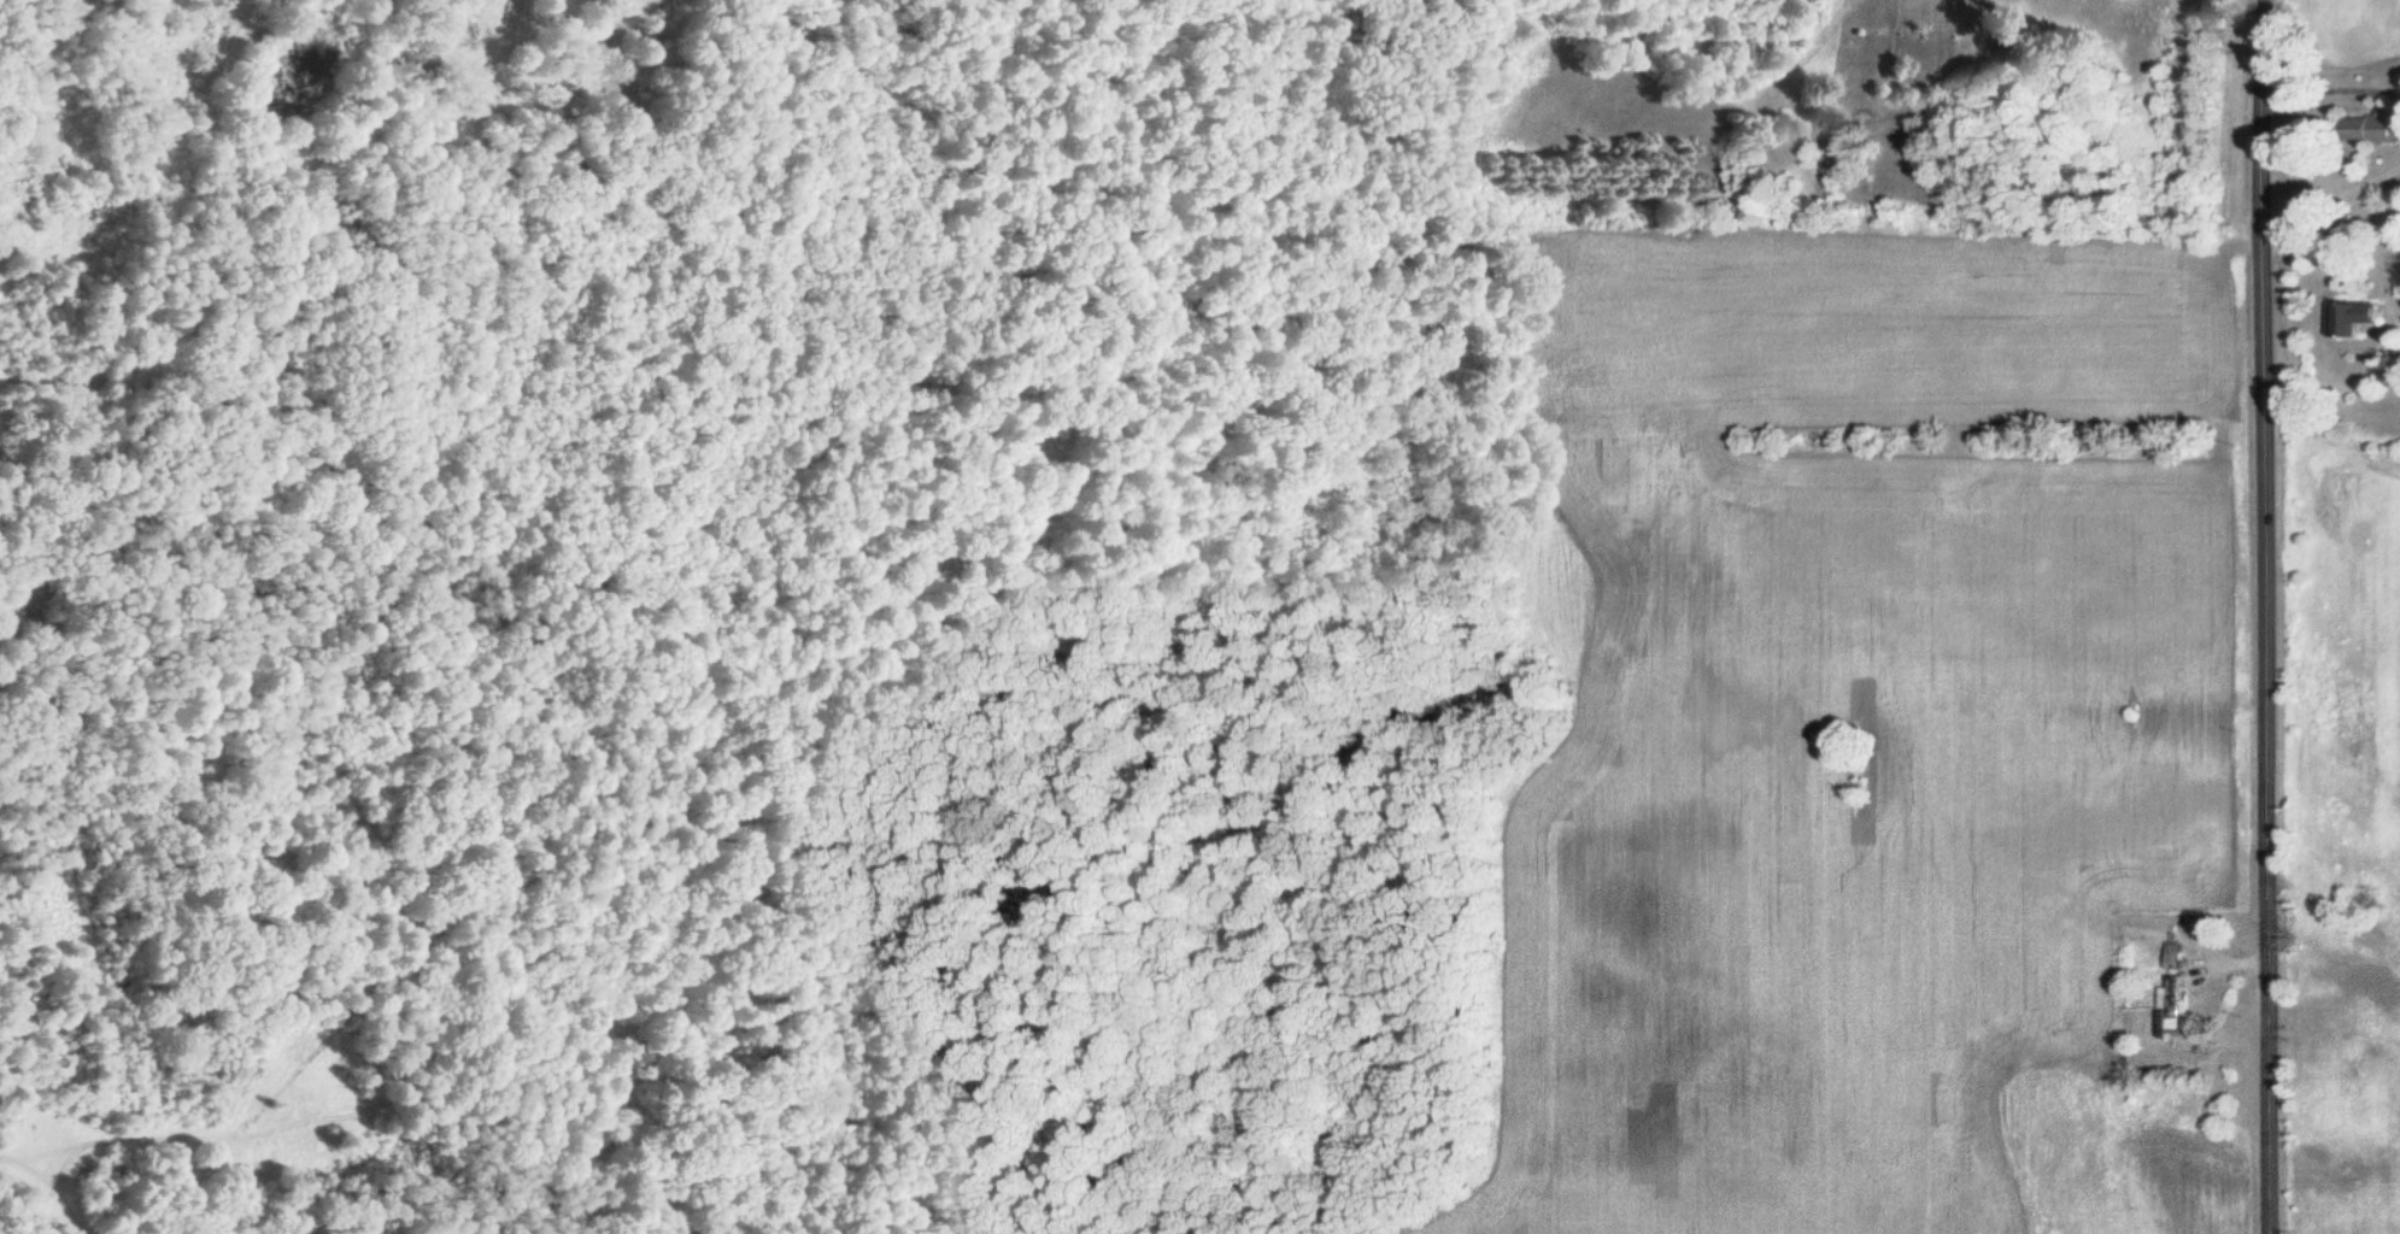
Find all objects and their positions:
building: (2372, 129)
building: (2349, 318)
road: (2271, 617)
building: (2171, 954)
building: (2172, 1004)

